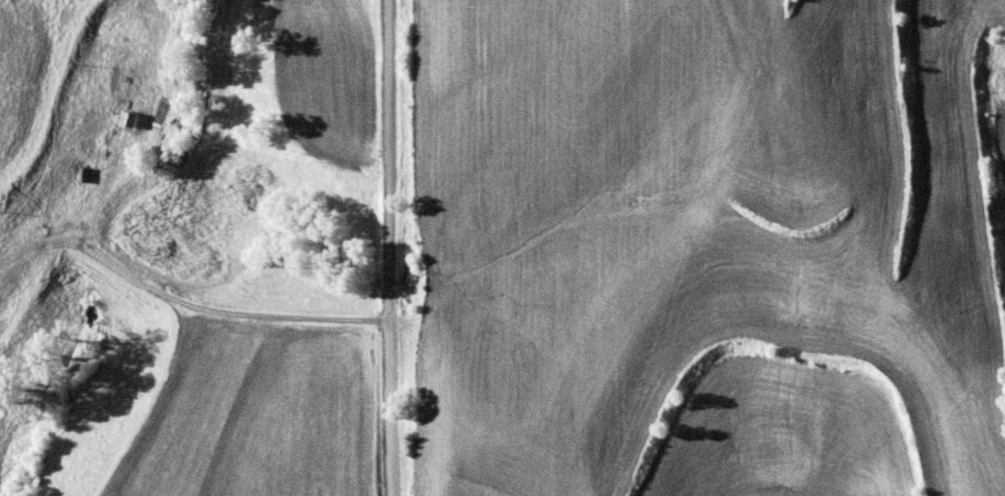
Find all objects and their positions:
road: (393, 248)

